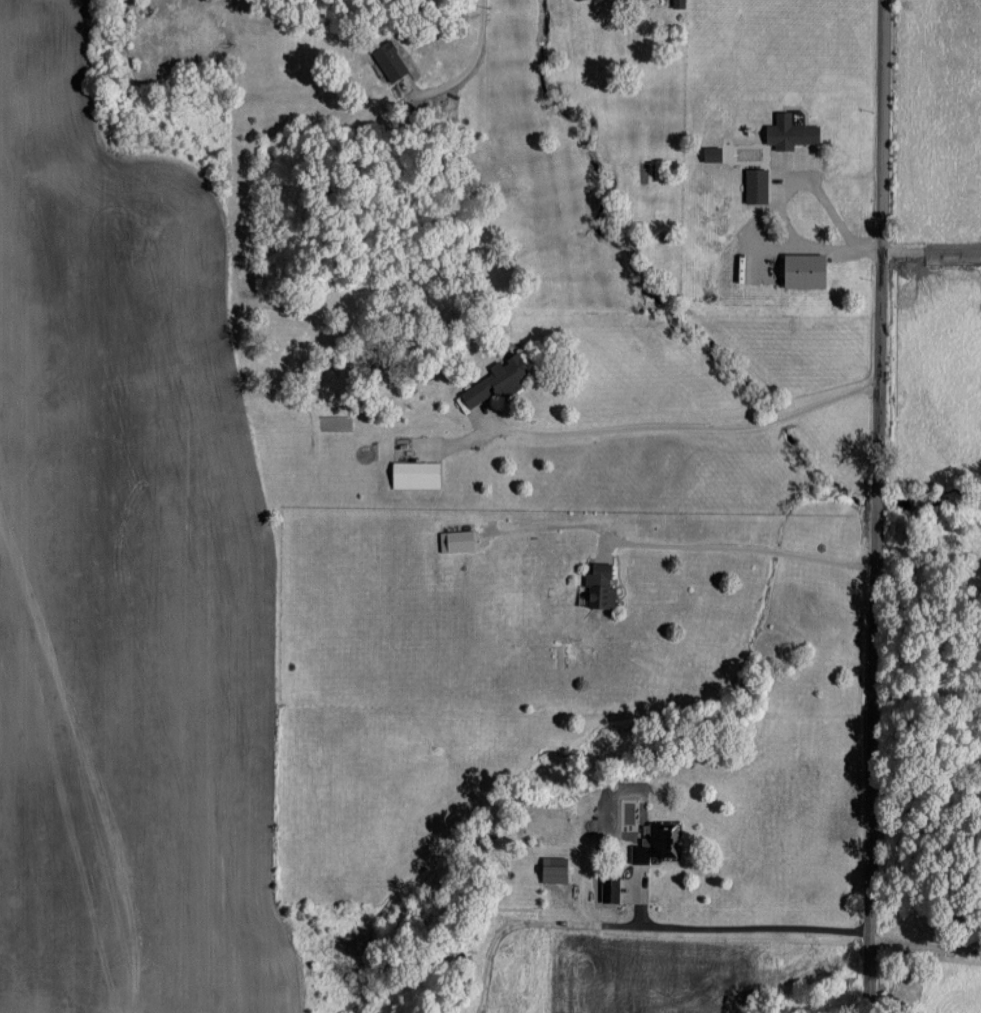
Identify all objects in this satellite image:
building: (678, 3)
building: (389, 60)
road: (466, 68)
building: (790, 132)
building: (711, 153)
building: (756, 185)
road: (772, 199)
building: (804, 271)
building: (497, 379)
road: (659, 426)
building: (415, 473)
road: (875, 506)
building: (455, 539)
road: (741, 548)
building: (600, 584)
building: (656, 842)
building: (554, 868)
building: (609, 887)
road: (641, 924)

